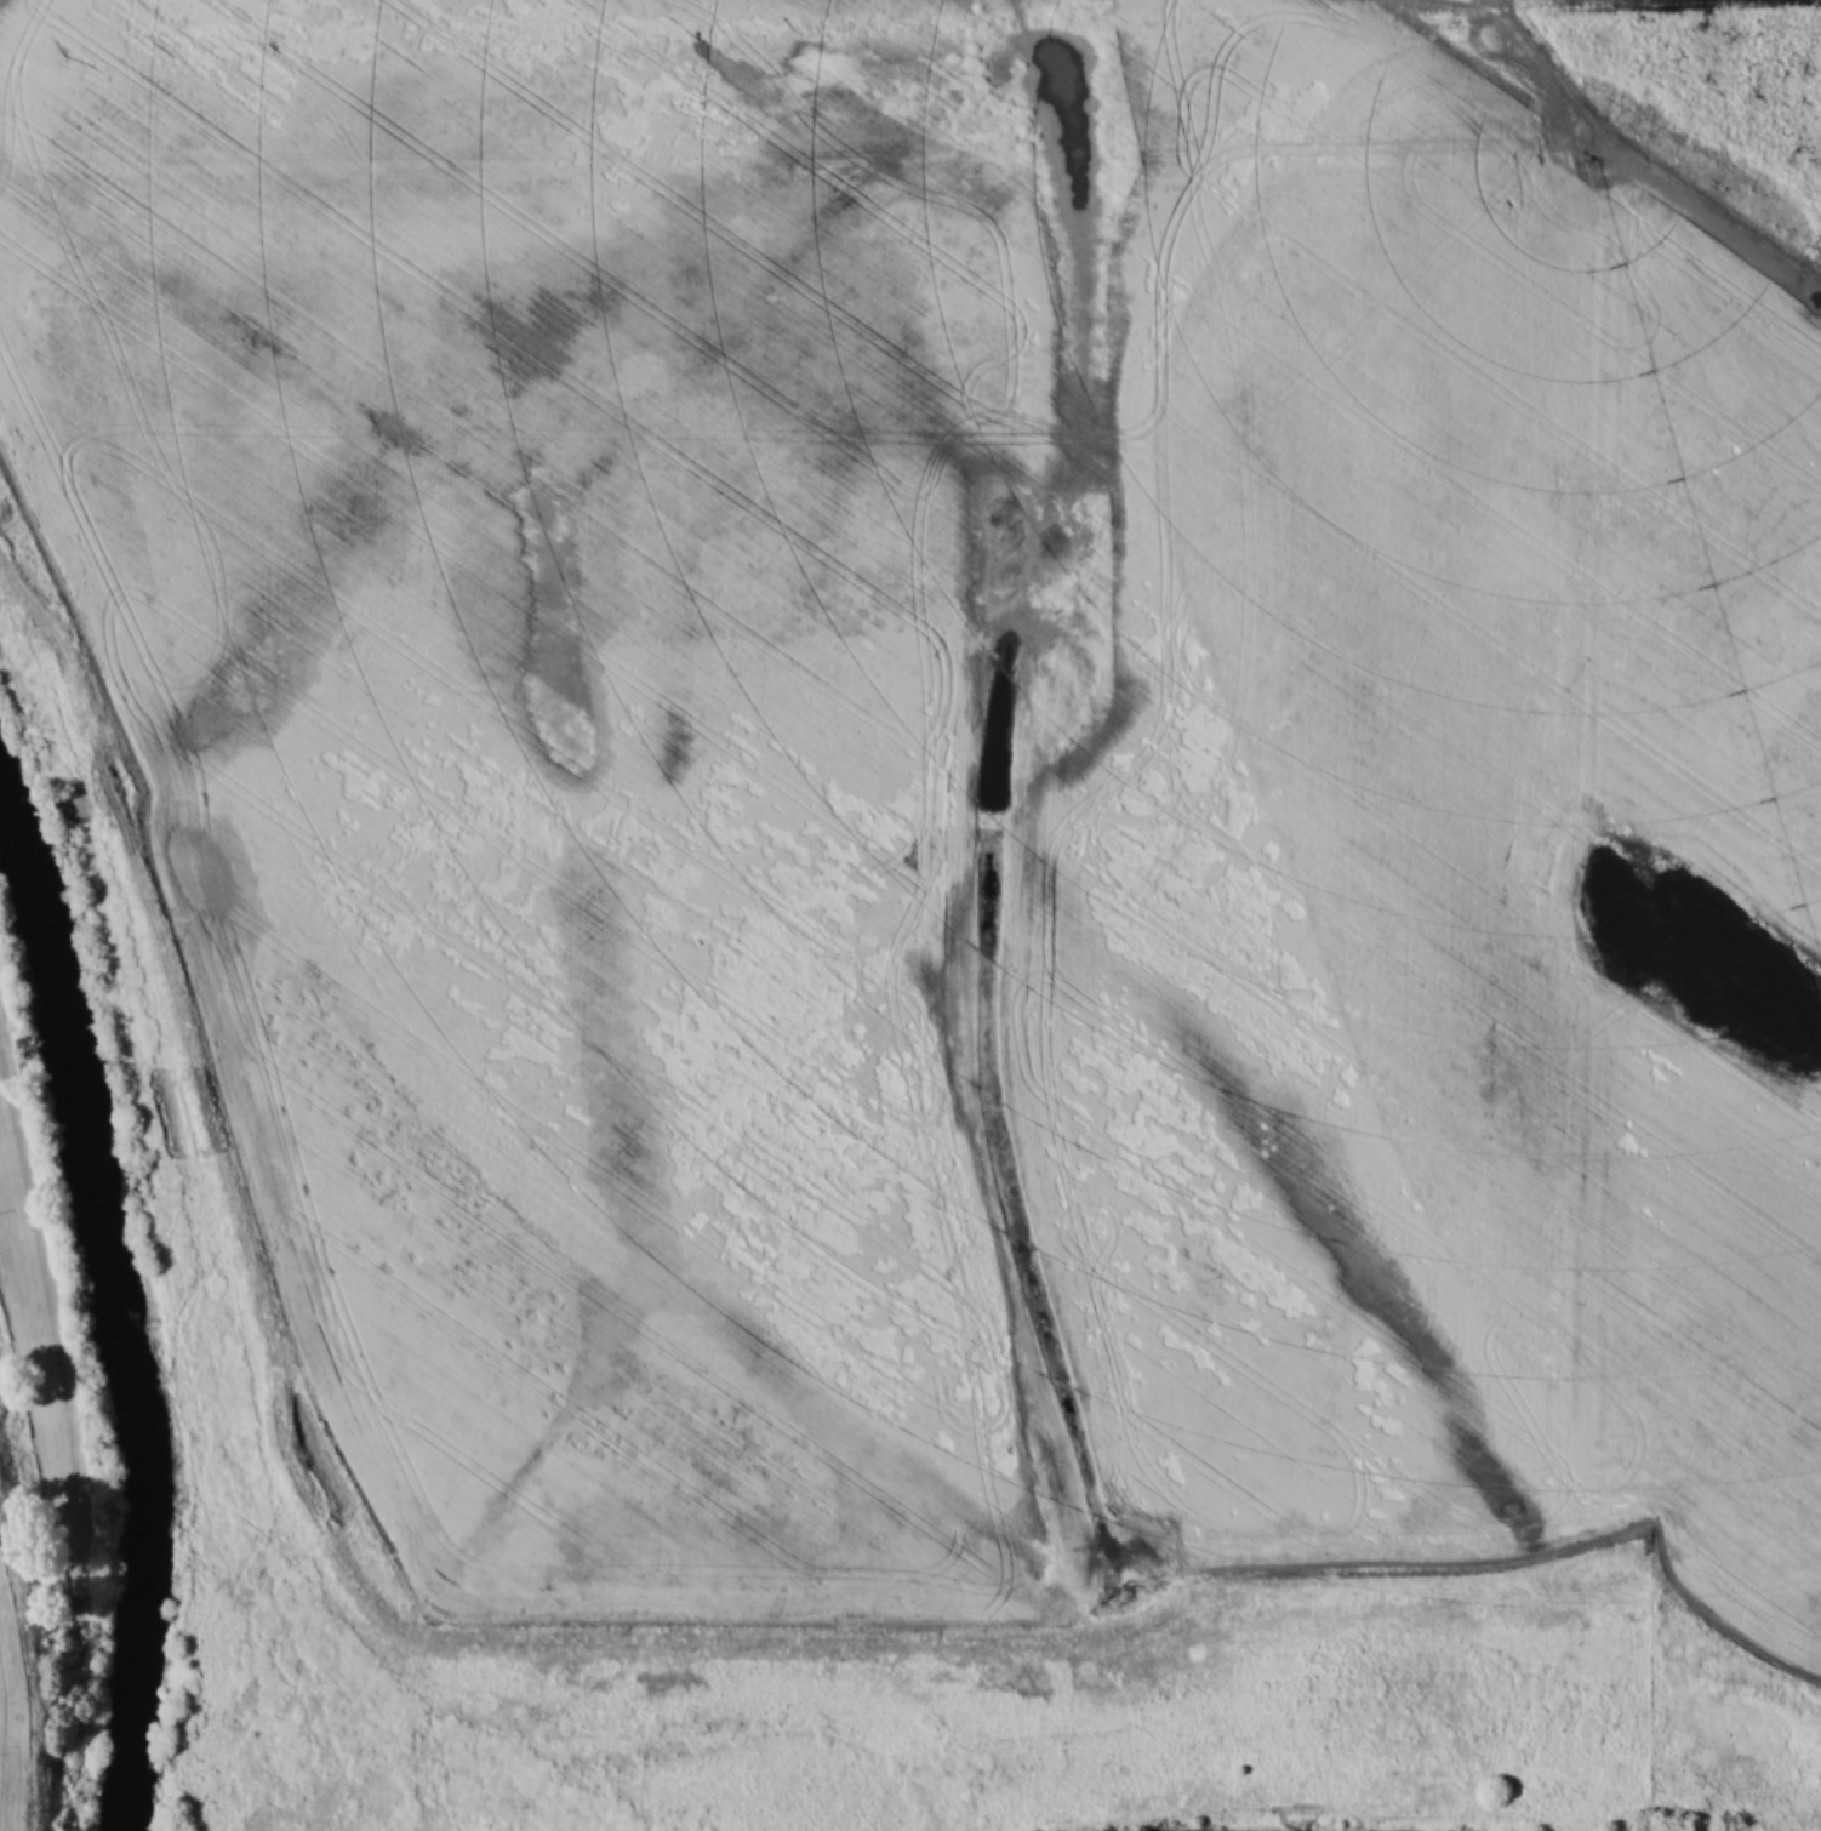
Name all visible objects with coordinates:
river: (121, 1304)

